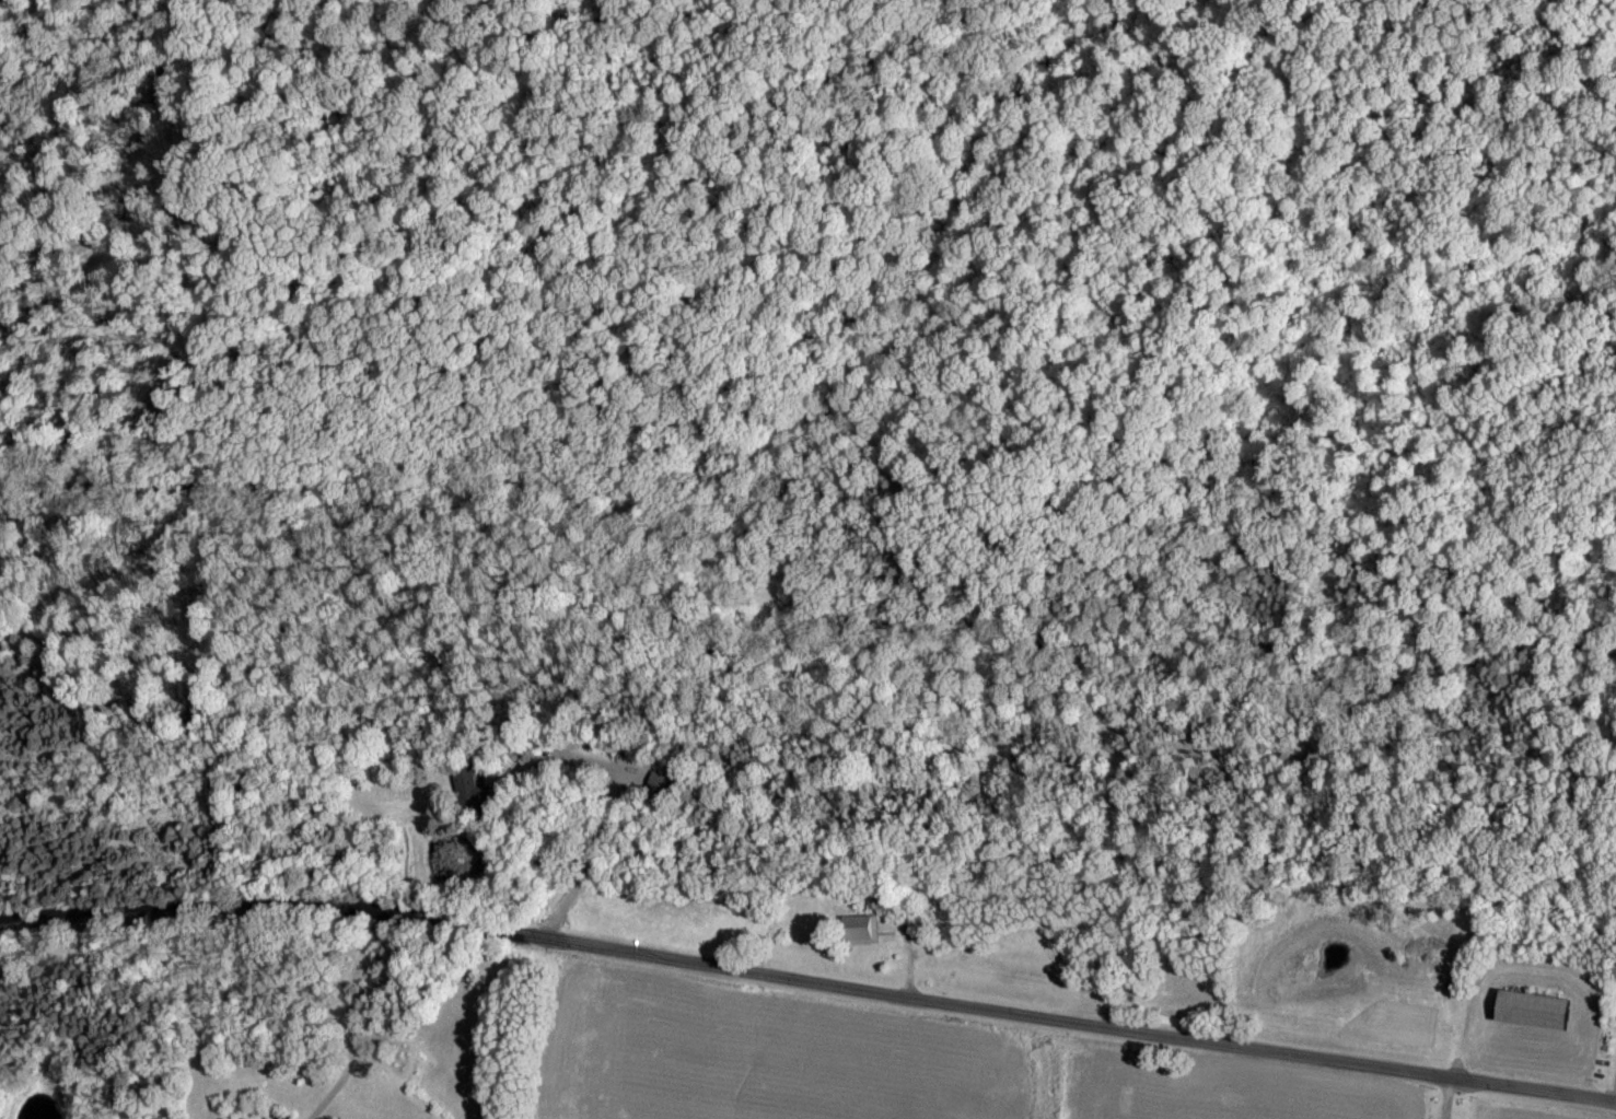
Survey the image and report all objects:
building: (463, 782)
road: (630, 784)
building: (660, 784)
building: (858, 930)
road: (807, 977)
building: (1531, 1011)
road: (368, 1018)
road: (1452, 1095)

